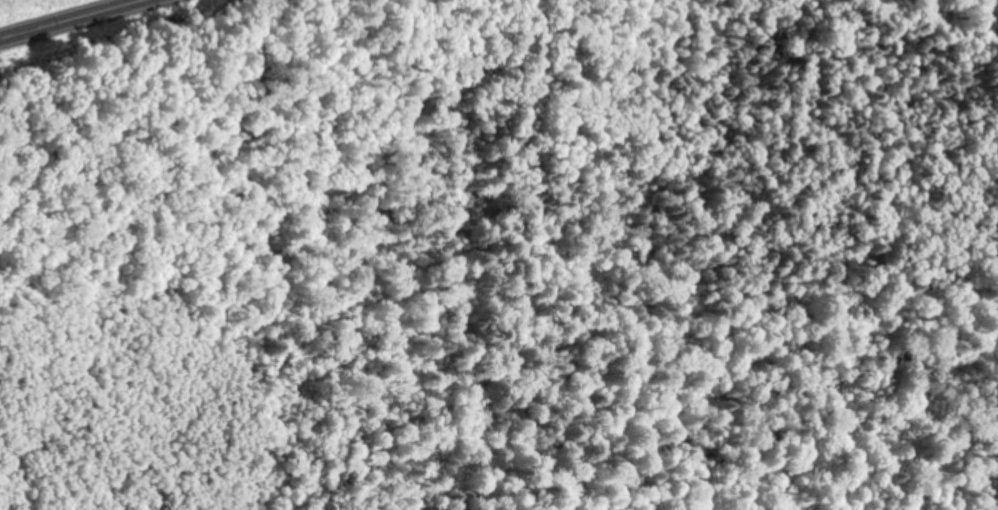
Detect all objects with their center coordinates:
road: (70, 19)

